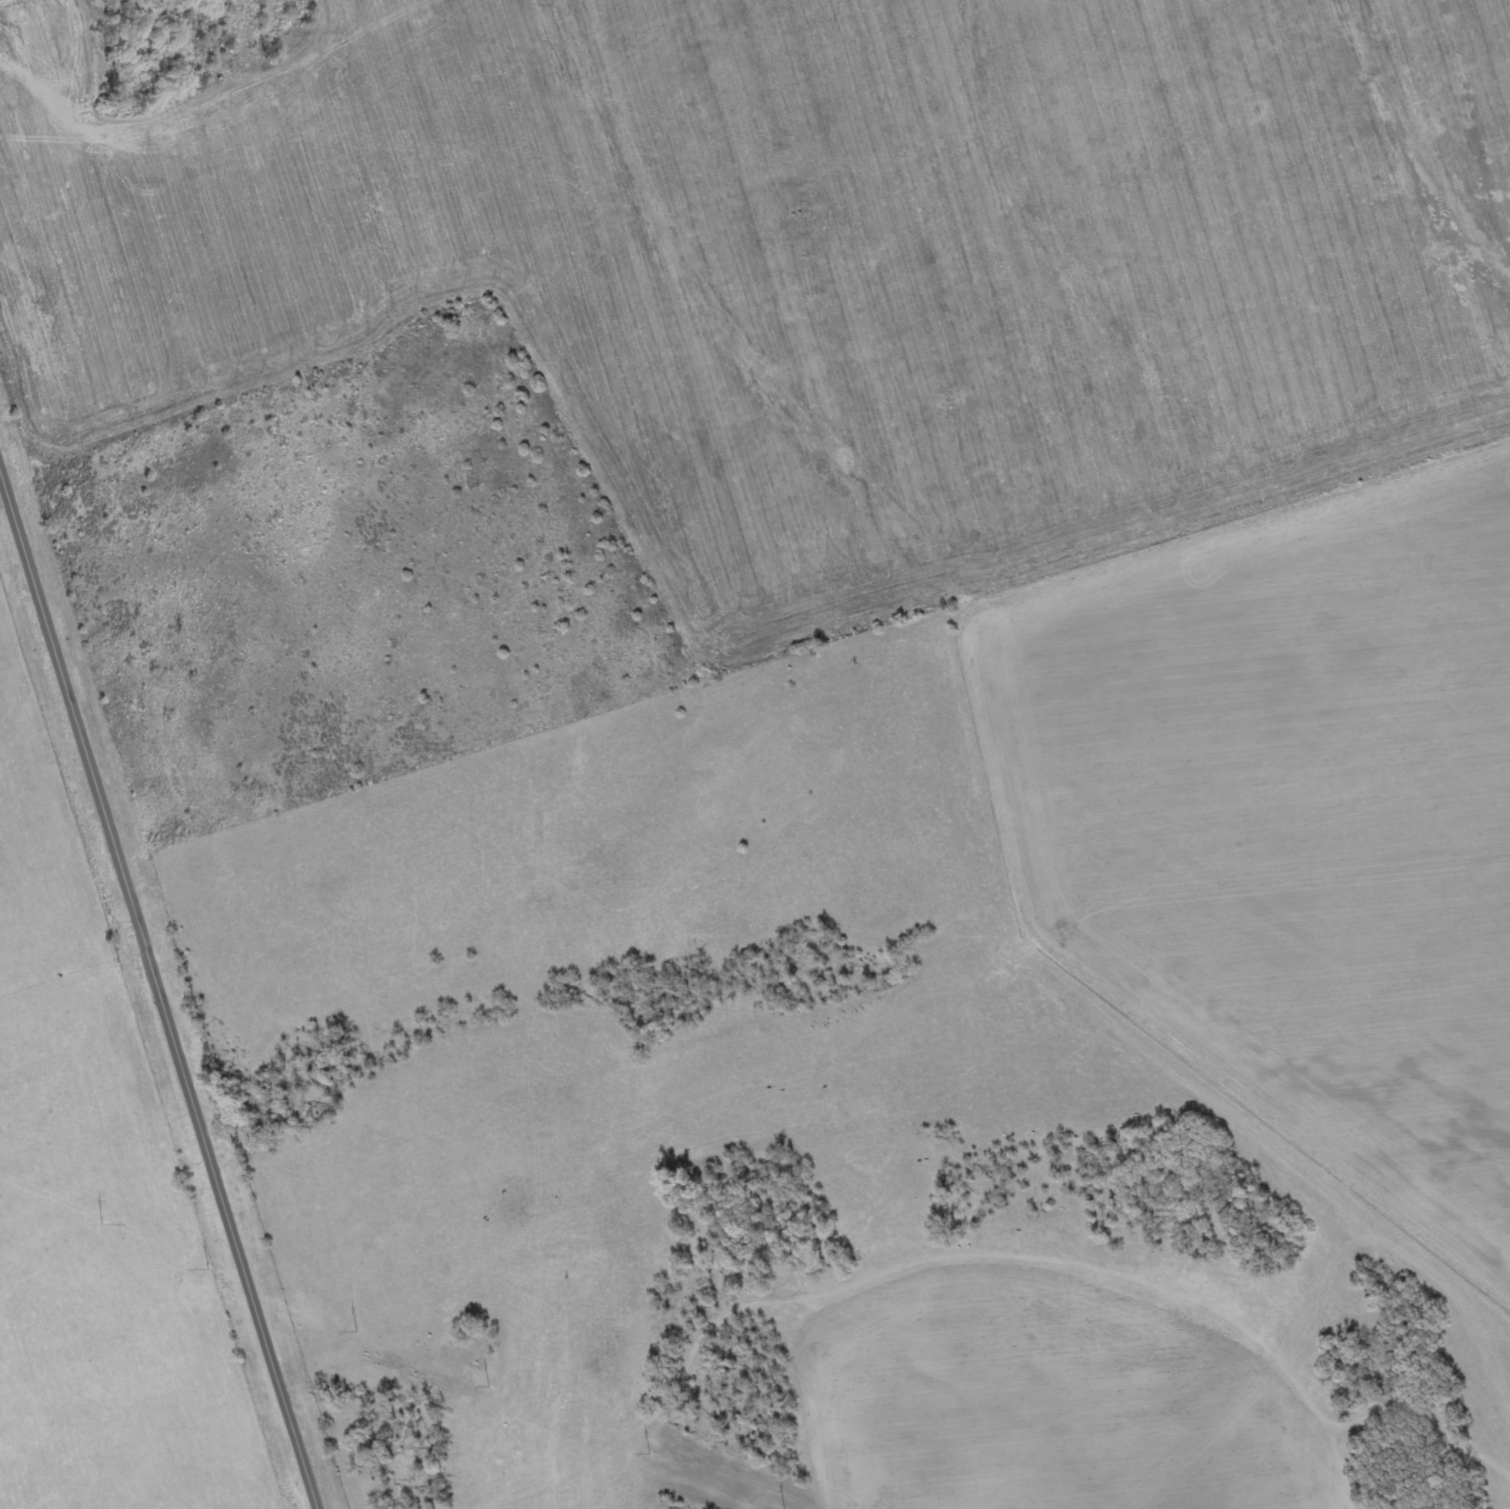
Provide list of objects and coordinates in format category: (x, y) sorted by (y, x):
road: (155, 988)

